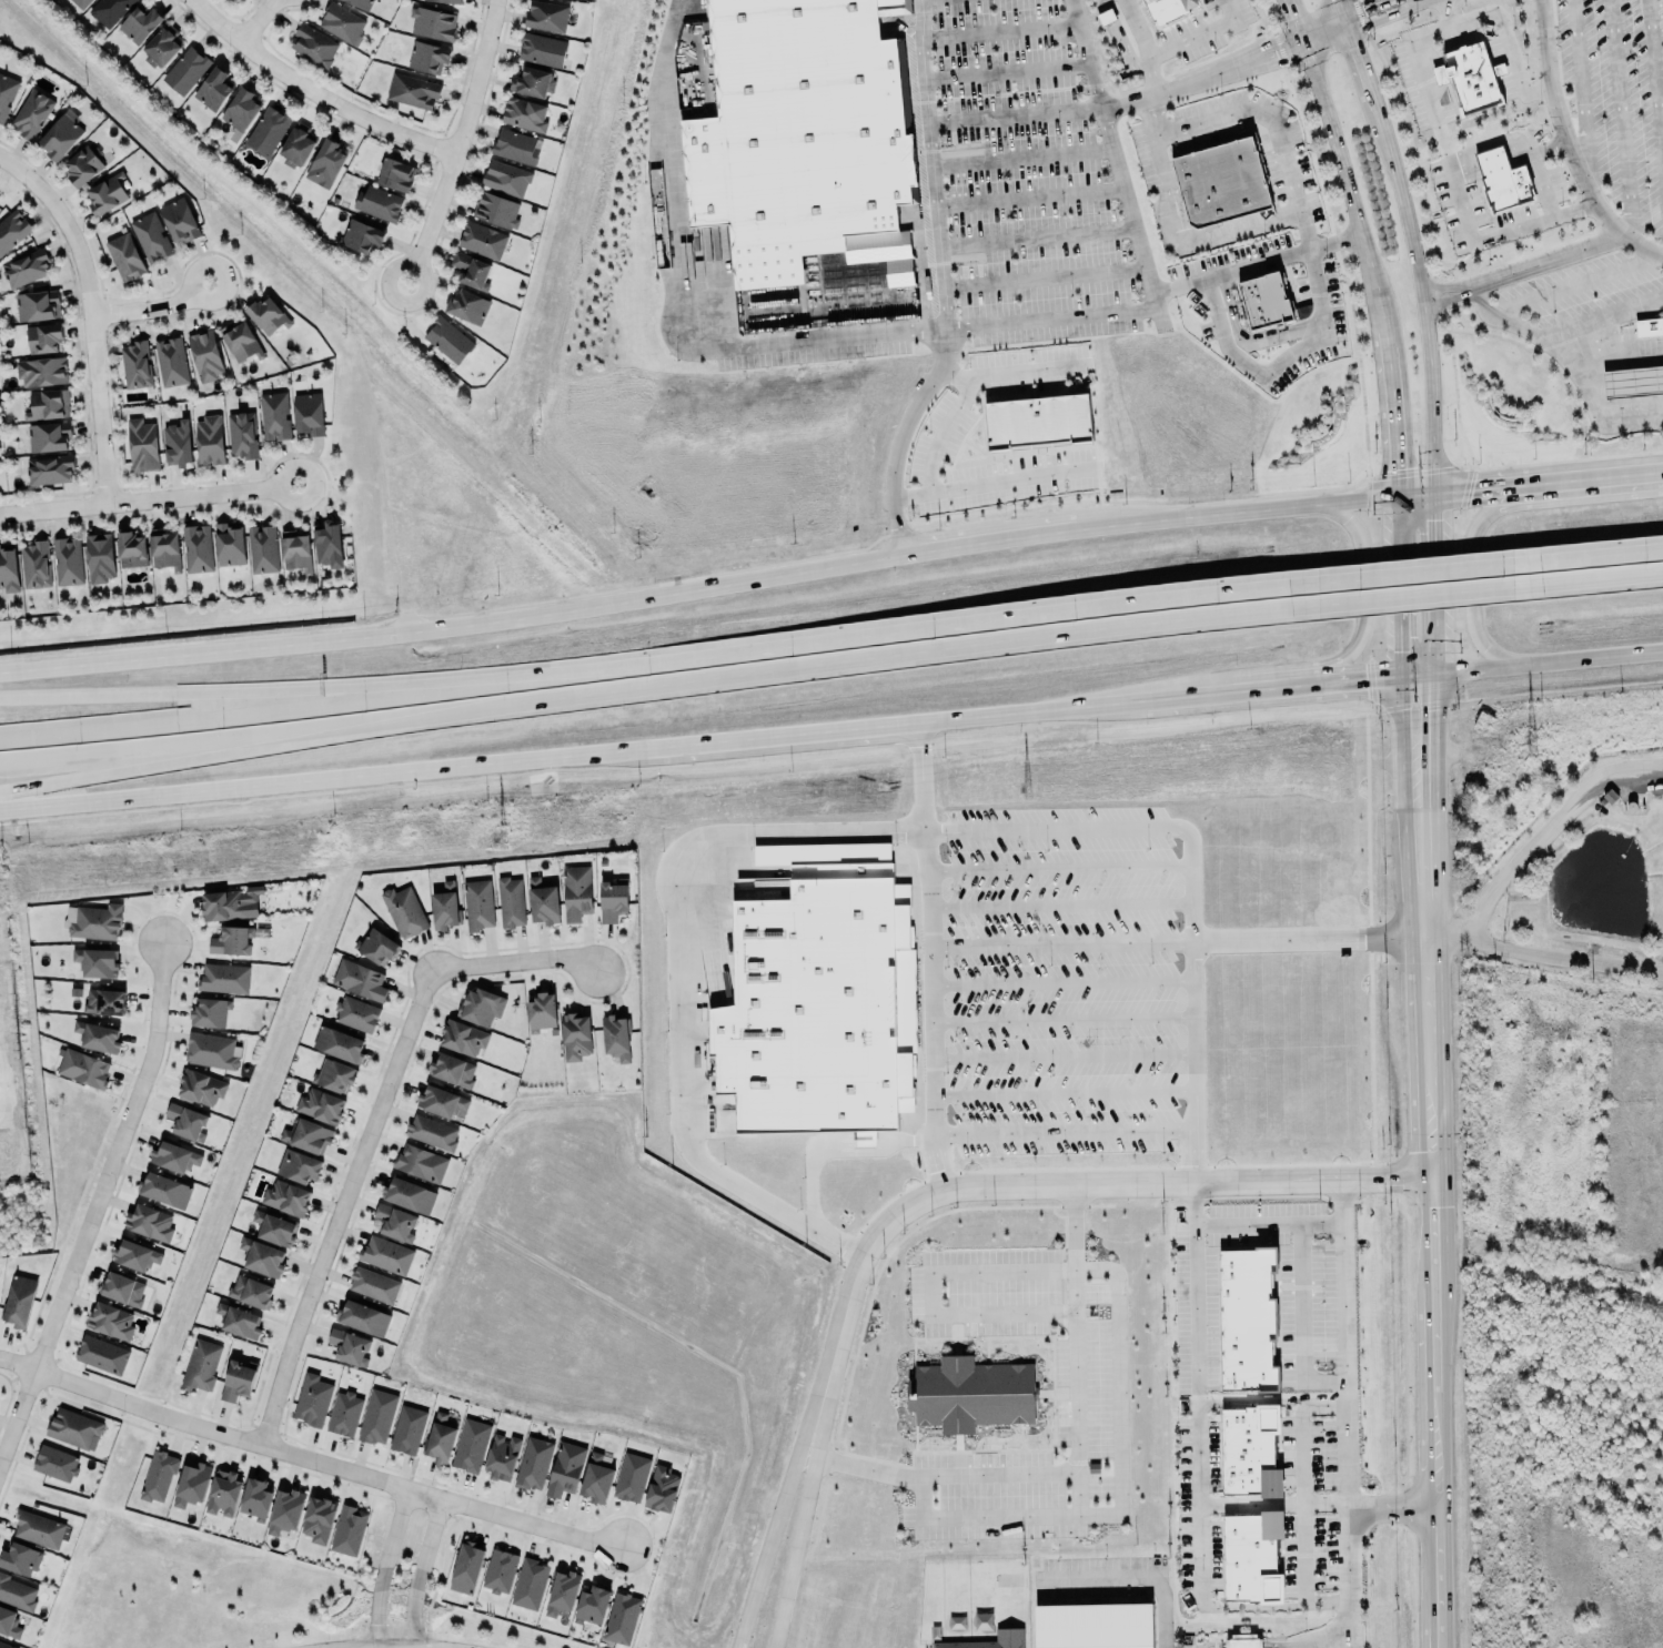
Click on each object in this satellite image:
road: (1402, 0)
road: (1404, 0)
building: (448, 1)
road: (1395, 1)
building: (80, 3)
building: (360, 3)
road: (1367, 6)
building: (1168, 9)
building: (109, 10)
building: (546, 16)
road: (1380, 18)
road: (256, 20)
road: (1351, 21)
building: (342, 22)
building: (140, 23)
building: (433, 23)
road: (1000, 30)
road: (1322, 33)
road: (1197, 36)
building: (313, 44)
building: (162, 46)
road: (1142, 46)
road: (1509, 47)
building: (542, 49)
road: (1088, 53)
building: (429, 57)
building: (185, 70)
road: (1008, 70)
building: (1474, 78)
road: (1655, 79)
building: (532, 82)
building: (214, 89)
building: (412, 91)
road: (315, 92)
building: (7, 93)
road: (1126, 101)
road: (1584, 102)
building: (242, 109)
building: (31, 113)
building: (524, 113)
road: (1017, 117)
road: (1620, 117)
road: (1217, 118)
building: (266, 131)
building: (60, 134)
road: (460, 143)
building: (296, 145)
building: (515, 146)
road: (1546, 146)
road: (1022, 156)
building: (327, 161)
building: (1493, 161)
road: (931, 163)
building: (83, 166)
road: (1415, 166)
building: (395, 174)
road: (1320, 174)
building: (506, 178)
building: (1223, 182)
road: (1541, 183)
building: (1510, 186)
road: (1169, 189)
building: (105, 193)
road: (1030, 196)
building: (379, 203)
building: (495, 210)
road: (1607, 215)
building: (180, 221)
building: (12, 230)
road: (1498, 230)
building: (150, 236)
building: (361, 236)
road: (1038, 236)
building: (483, 240)
road: (1410, 242)
road: (1360, 243)
building: (124, 256)
road: (1542, 256)
road: (1256, 261)
building: (26, 267)
building: (472, 271)
road: (1045, 277)
road: (1579, 280)
building: (1261, 304)
building: (37, 305)
road: (151, 305)
building: (467, 307)
road: (89, 314)
building: (268, 316)
road: (1600, 317)
building: (1649, 325)
road: (849, 333)
building: (43, 337)
building: (448, 340)
building: (241, 342)
road: (1288, 352)
building: (204, 354)
road: (1563, 361)
building: (170, 362)
building: (137, 364)
building: (42, 371)
building: (1634, 382)
gas station: (1634, 382)
building: (47, 404)
building: (308, 414)
building: (274, 415)
building: (1038, 422)
road: (934, 431)
building: (243, 435)
building: (49, 436)
road: (901, 437)
building: (210, 441)
building: (178, 444)
building: (142, 445)
building: (50, 468)
road: (1593, 476)
road: (1001, 478)
road: (1471, 487)
traffic signals: (1417, 493)
road: (148, 497)
road: (1246, 514)
building: (230, 545)
building: (329, 545)
road: (987, 546)
building: (163, 547)
building: (261, 547)
building: (198, 548)
building: (130, 549)
road: (1589, 549)
building: (296, 552)
building: (100, 558)
building: (68, 562)
building: (34, 564)
road: (1418, 564)
building: (8, 570)
road: (1471, 575)
road: (1591, 579)
road: (1419, 583)
road: (1362, 593)
road: (1420, 594)
road: (1037, 605)
road: (451, 626)
road: (1541, 661)
road: (508, 671)
traffic signals: (1421, 674)
road: (720, 679)
road: (1359, 679)
road: (1220, 692)
road: (132, 694)
power tower: (1530, 742)
railway: (831, 744)
road: (571, 756)
road: (60, 777)
power tower: (1022, 790)
road: (1548, 826)
road: (848, 829)
power tower: (500, 840)
road: (1051, 866)
building: (576, 891)
building: (612, 899)
building: (543, 901)
building: (478, 902)
building: (510, 902)
building: (230, 903)
road: (1052, 904)
building: (444, 907)
building: (404, 909)
building: (93, 921)
building: (232, 939)
road: (1176, 939)
building: (377, 944)
road: (1543, 951)
road: (924, 957)
building: (97, 960)
building: (223, 977)
building: (359, 980)
road: (1054, 981)
building: (104, 1000)
building: (481, 1004)
building: (810, 1009)
building: (210, 1010)
building: (356, 1012)
building: (541, 1012)
road: (1054, 1017)
building: (575, 1034)
building: (616, 1035)
building: (97, 1037)
building: (463, 1038)
building: (339, 1042)
building: (211, 1050)
road: (1055, 1054)
building: (82, 1068)
building: (453, 1068)
building: (334, 1073)
power substation: (9, 1086)
building: (200, 1088)
road: (1055, 1090)
building: (441, 1100)
building: (321, 1103)
building: (187, 1120)
road: (371, 1125)
road: (1056, 1129)
building: (432, 1131)
building: (308, 1135)
road: (836, 1150)
building: (174, 1154)
road: (1432, 1160)
building: (299, 1163)
building: (421, 1163)
road: (1382, 1176)
road: (1102, 1182)
building: (164, 1190)
building: (409, 1194)
building: (285, 1195)
road: (95, 1202)
building: (395, 1220)
building: (149, 1222)
road: (1260, 1225)
building: (274, 1226)
building: (135, 1253)
building: (386, 1254)
building: (262, 1255)
building: (374, 1283)
building: (122, 1287)
road: (1334, 1288)
building: (251, 1290)
road: (1188, 1291)
road: (933, 1297)
building: (19, 1301)
building: (1244, 1315)
building: (363, 1317)
building: (110, 1318)
building: (239, 1318)
road: (1294, 1322)
road: (838, 1328)
building: (349, 1346)
building: (101, 1353)
building: (201, 1363)
building: (238, 1379)
road: (1075, 1391)
building: (970, 1394)
building: (313, 1398)
building: (344, 1412)
building: (377, 1415)
building: (74, 1427)
building: (407, 1428)
building: (440, 1435)
building: (471, 1443)
building: (1250, 1447)
building: (501, 1454)
road: (308, 1455)
building: (56, 1462)
building: (533, 1463)
building: (565, 1468)
building: (631, 1474)
building: (158, 1475)
road: (994, 1475)
building: (595, 1476)
building: (191, 1482)
building: (661, 1486)
building: (223, 1490)
building: (255, 1497)
road: (1118, 1500)
road: (1303, 1500)
road: (1345, 1500)
road: (1326, 1503)
building: (283, 1508)
road: (1392, 1510)
building: (318, 1519)
building: (38, 1527)
building: (349, 1530)
road: (768, 1541)
road: (795, 1544)
building: (19, 1556)
building: (1251, 1557)
road: (382, 1565)
building: (465, 1565)
road: (420, 1569)
building: (500, 1569)
road: (1138, 1579)
building: (530, 1584)
building: (562, 1591)
building: (17, 1593)
building: (591, 1602)
road: (1256, 1607)
building: (622, 1617)
building: (9, 1621)
building: (1093, 1625)
road: (1336, 1630)
road: (1341, 1637)
building: (987, 1640)
building: (1242, 1641)
building: (7, 1645)
road: (375, 1646)

